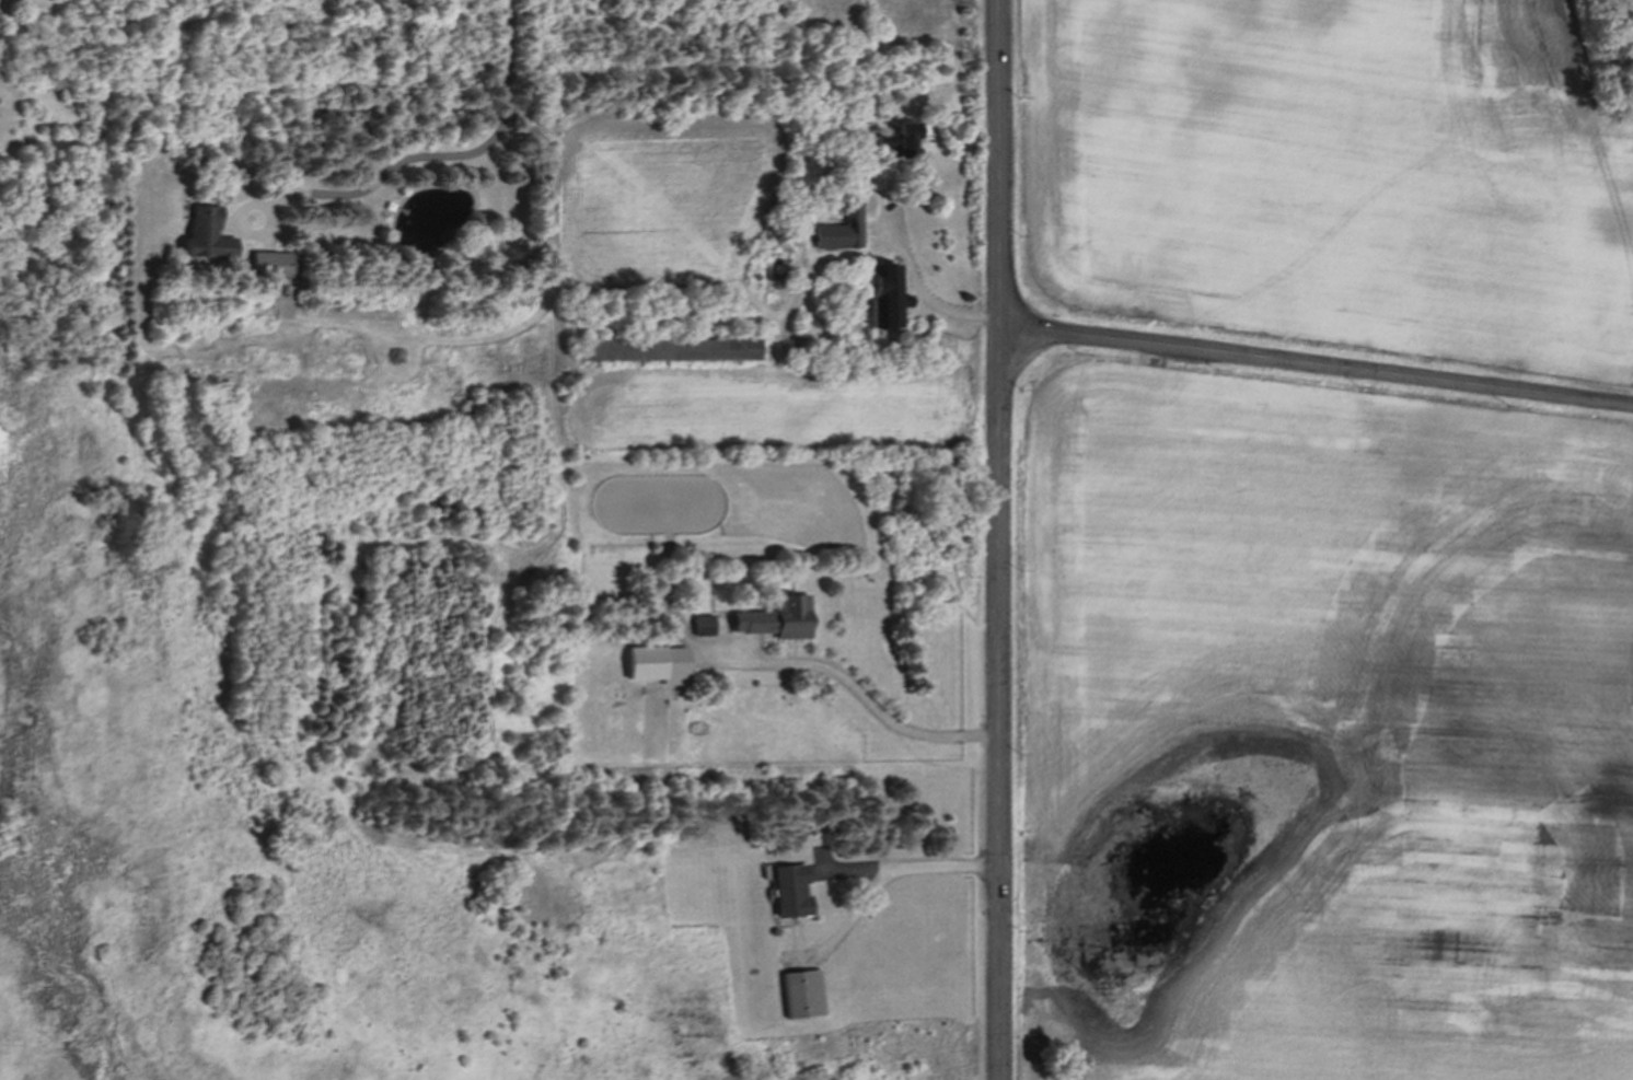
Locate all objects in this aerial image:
building: (902, 140)
road: (437, 155)
building: (844, 228)
building: (208, 235)
building: (276, 265)
building: (884, 297)
road: (931, 302)
building: (598, 350)
road: (1322, 372)
road: (1011, 539)
building: (777, 618)
building: (703, 626)
building: (659, 664)
road: (876, 704)
road: (915, 866)
building: (792, 891)
building: (804, 995)

